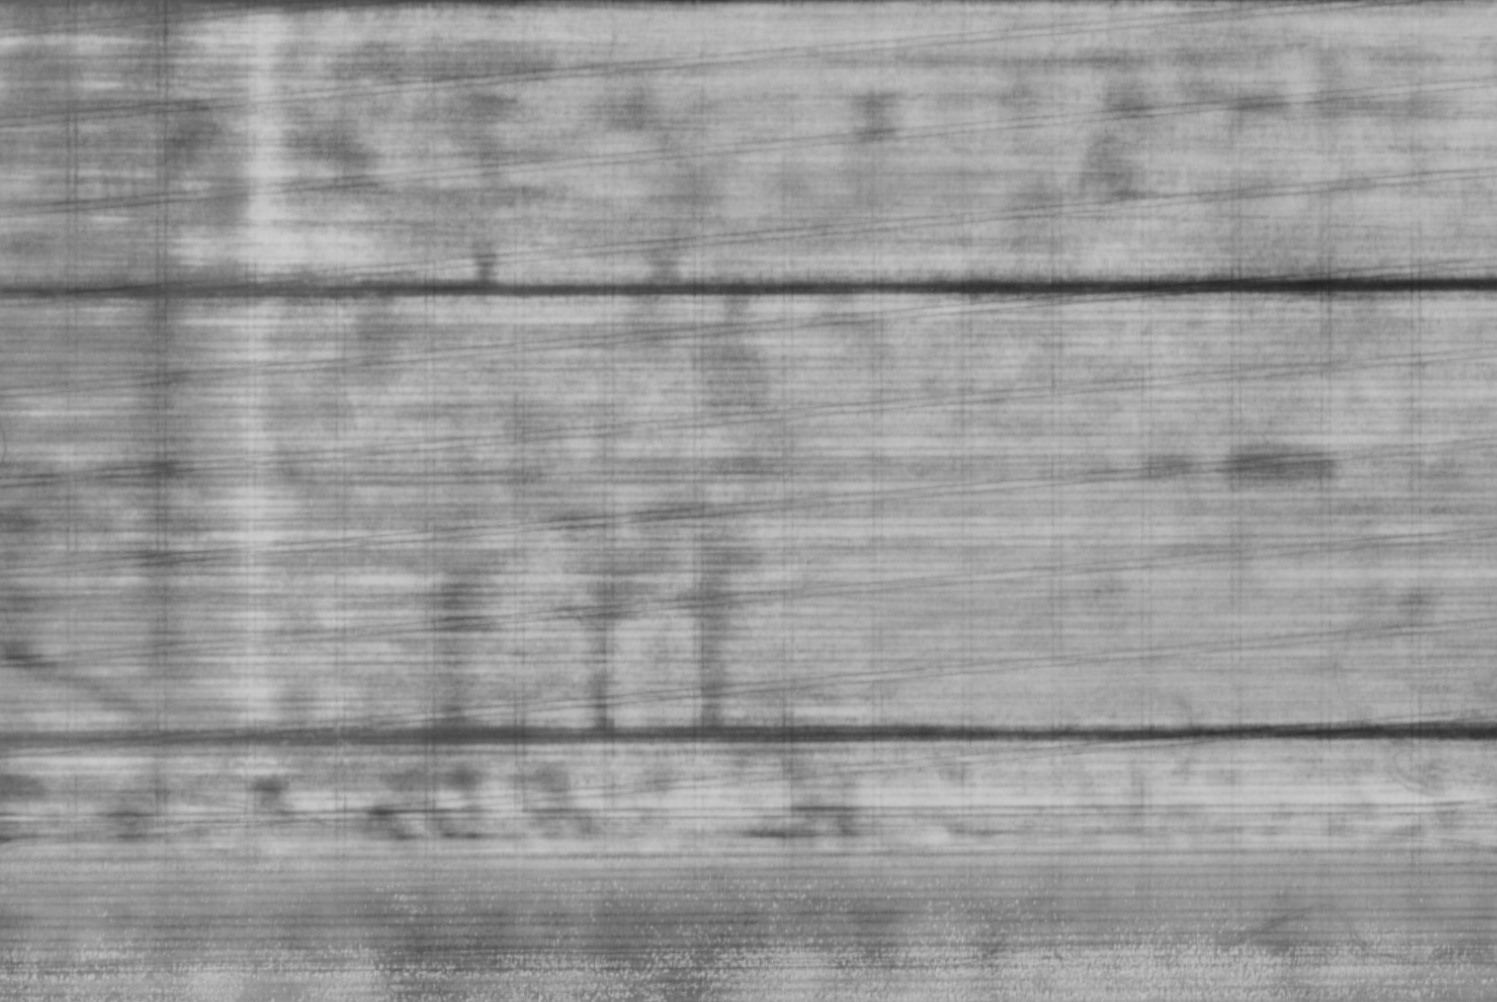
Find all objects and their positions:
crop: (748, 501)

